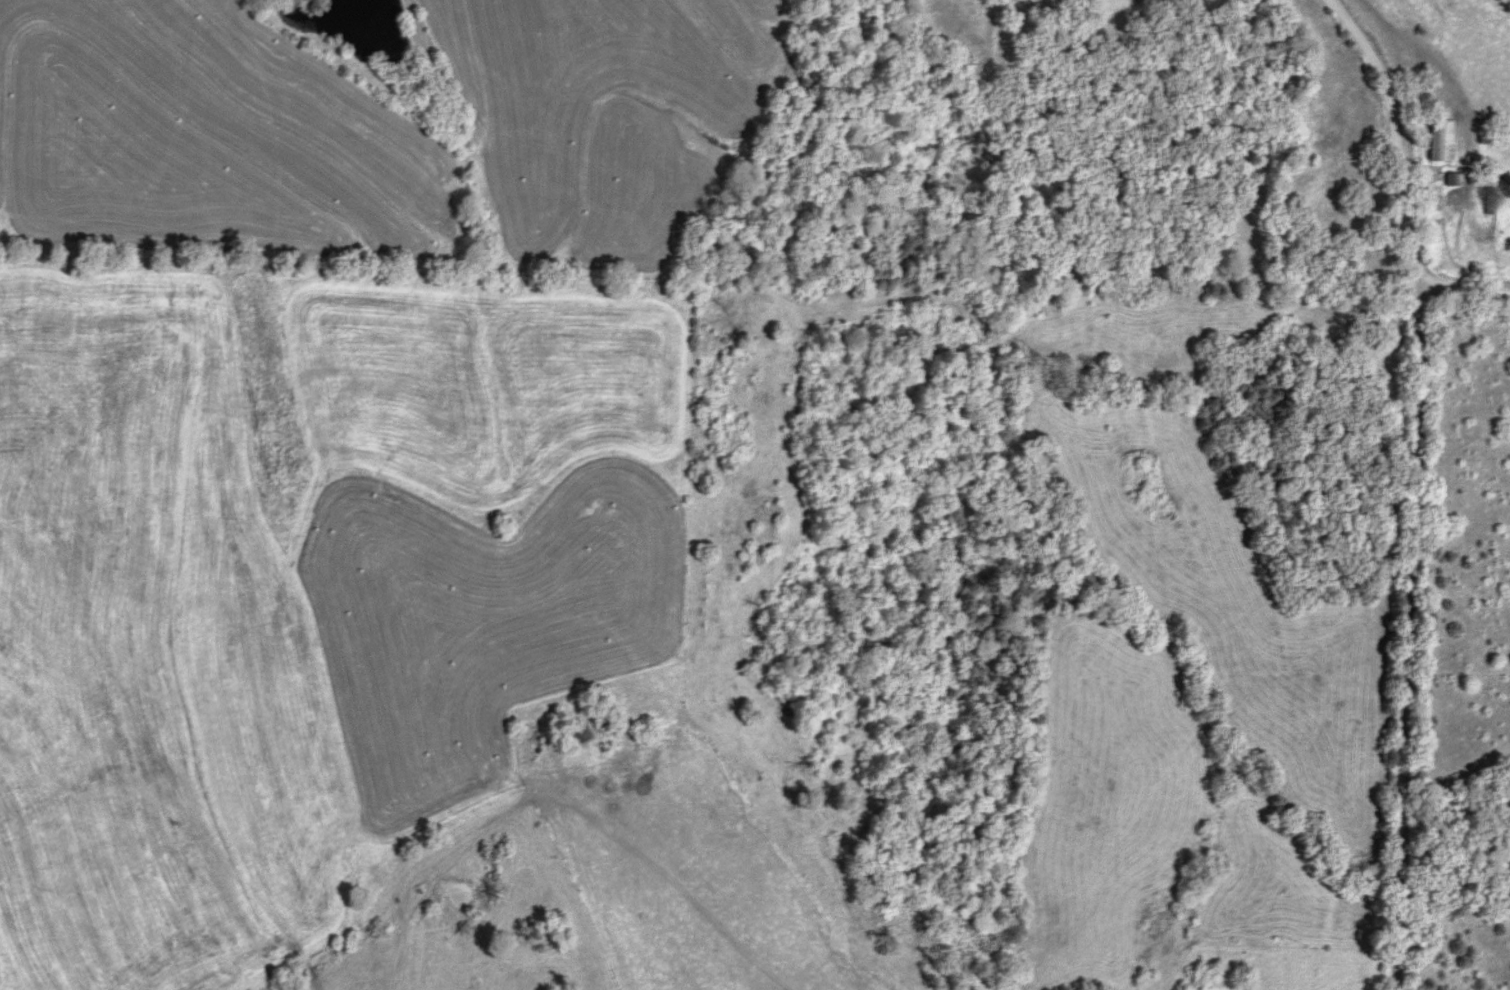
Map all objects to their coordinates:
road: (1391, 131)
building: (1443, 139)
building: (1456, 179)
road: (1462, 286)
road: (1410, 633)
building: (583, 734)

